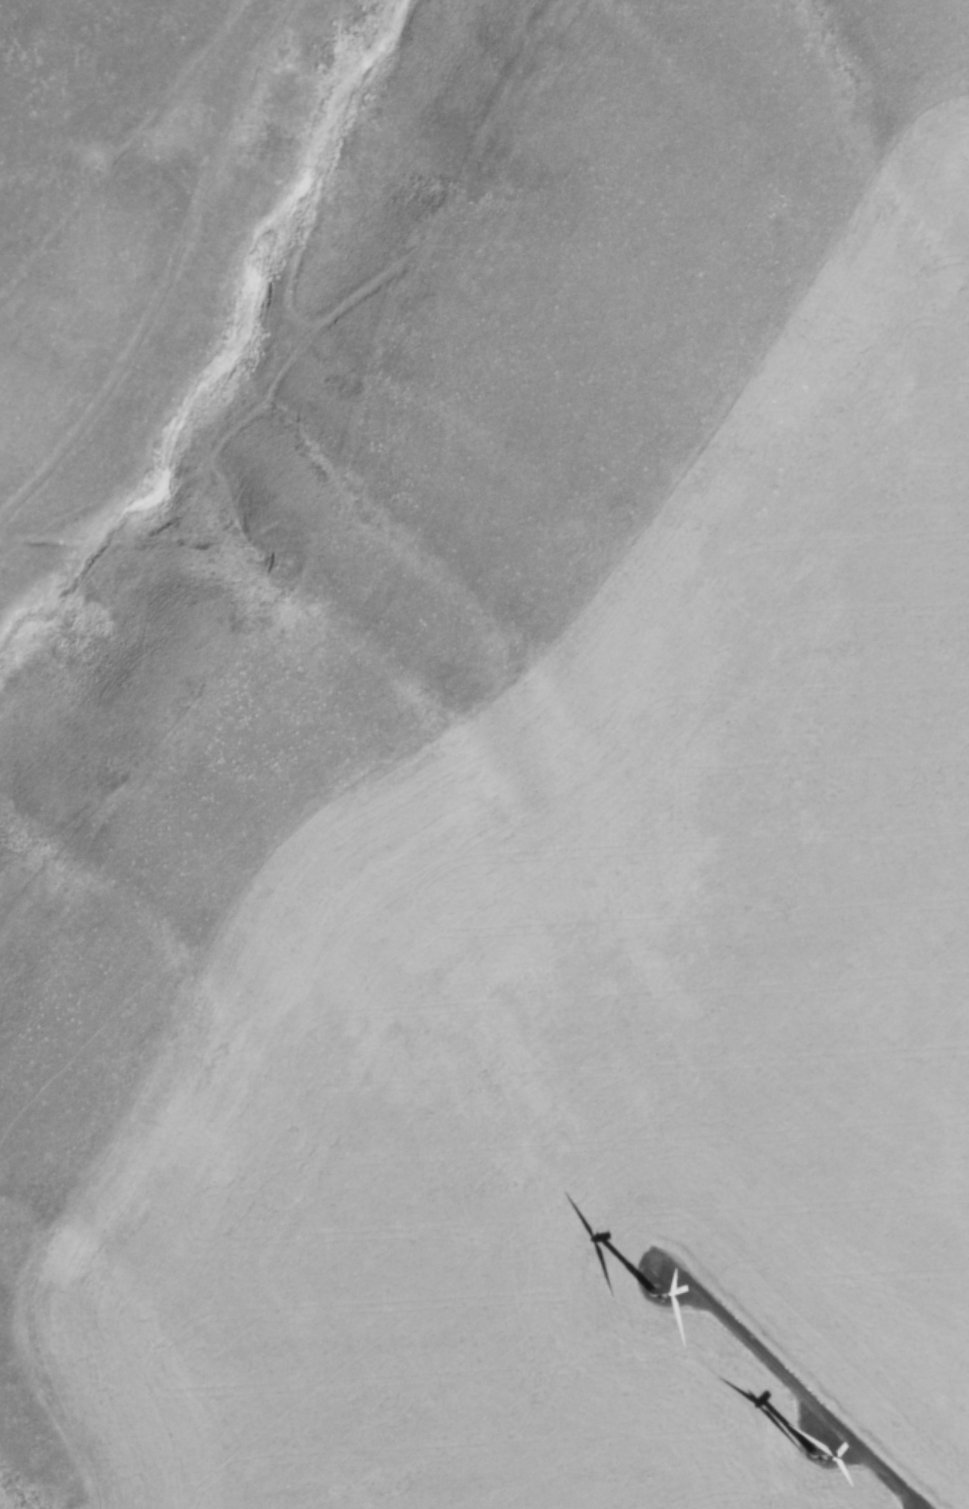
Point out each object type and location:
wind turbine: (656, 1287)
road: (794, 1386)
wind turbine: (818, 1445)

